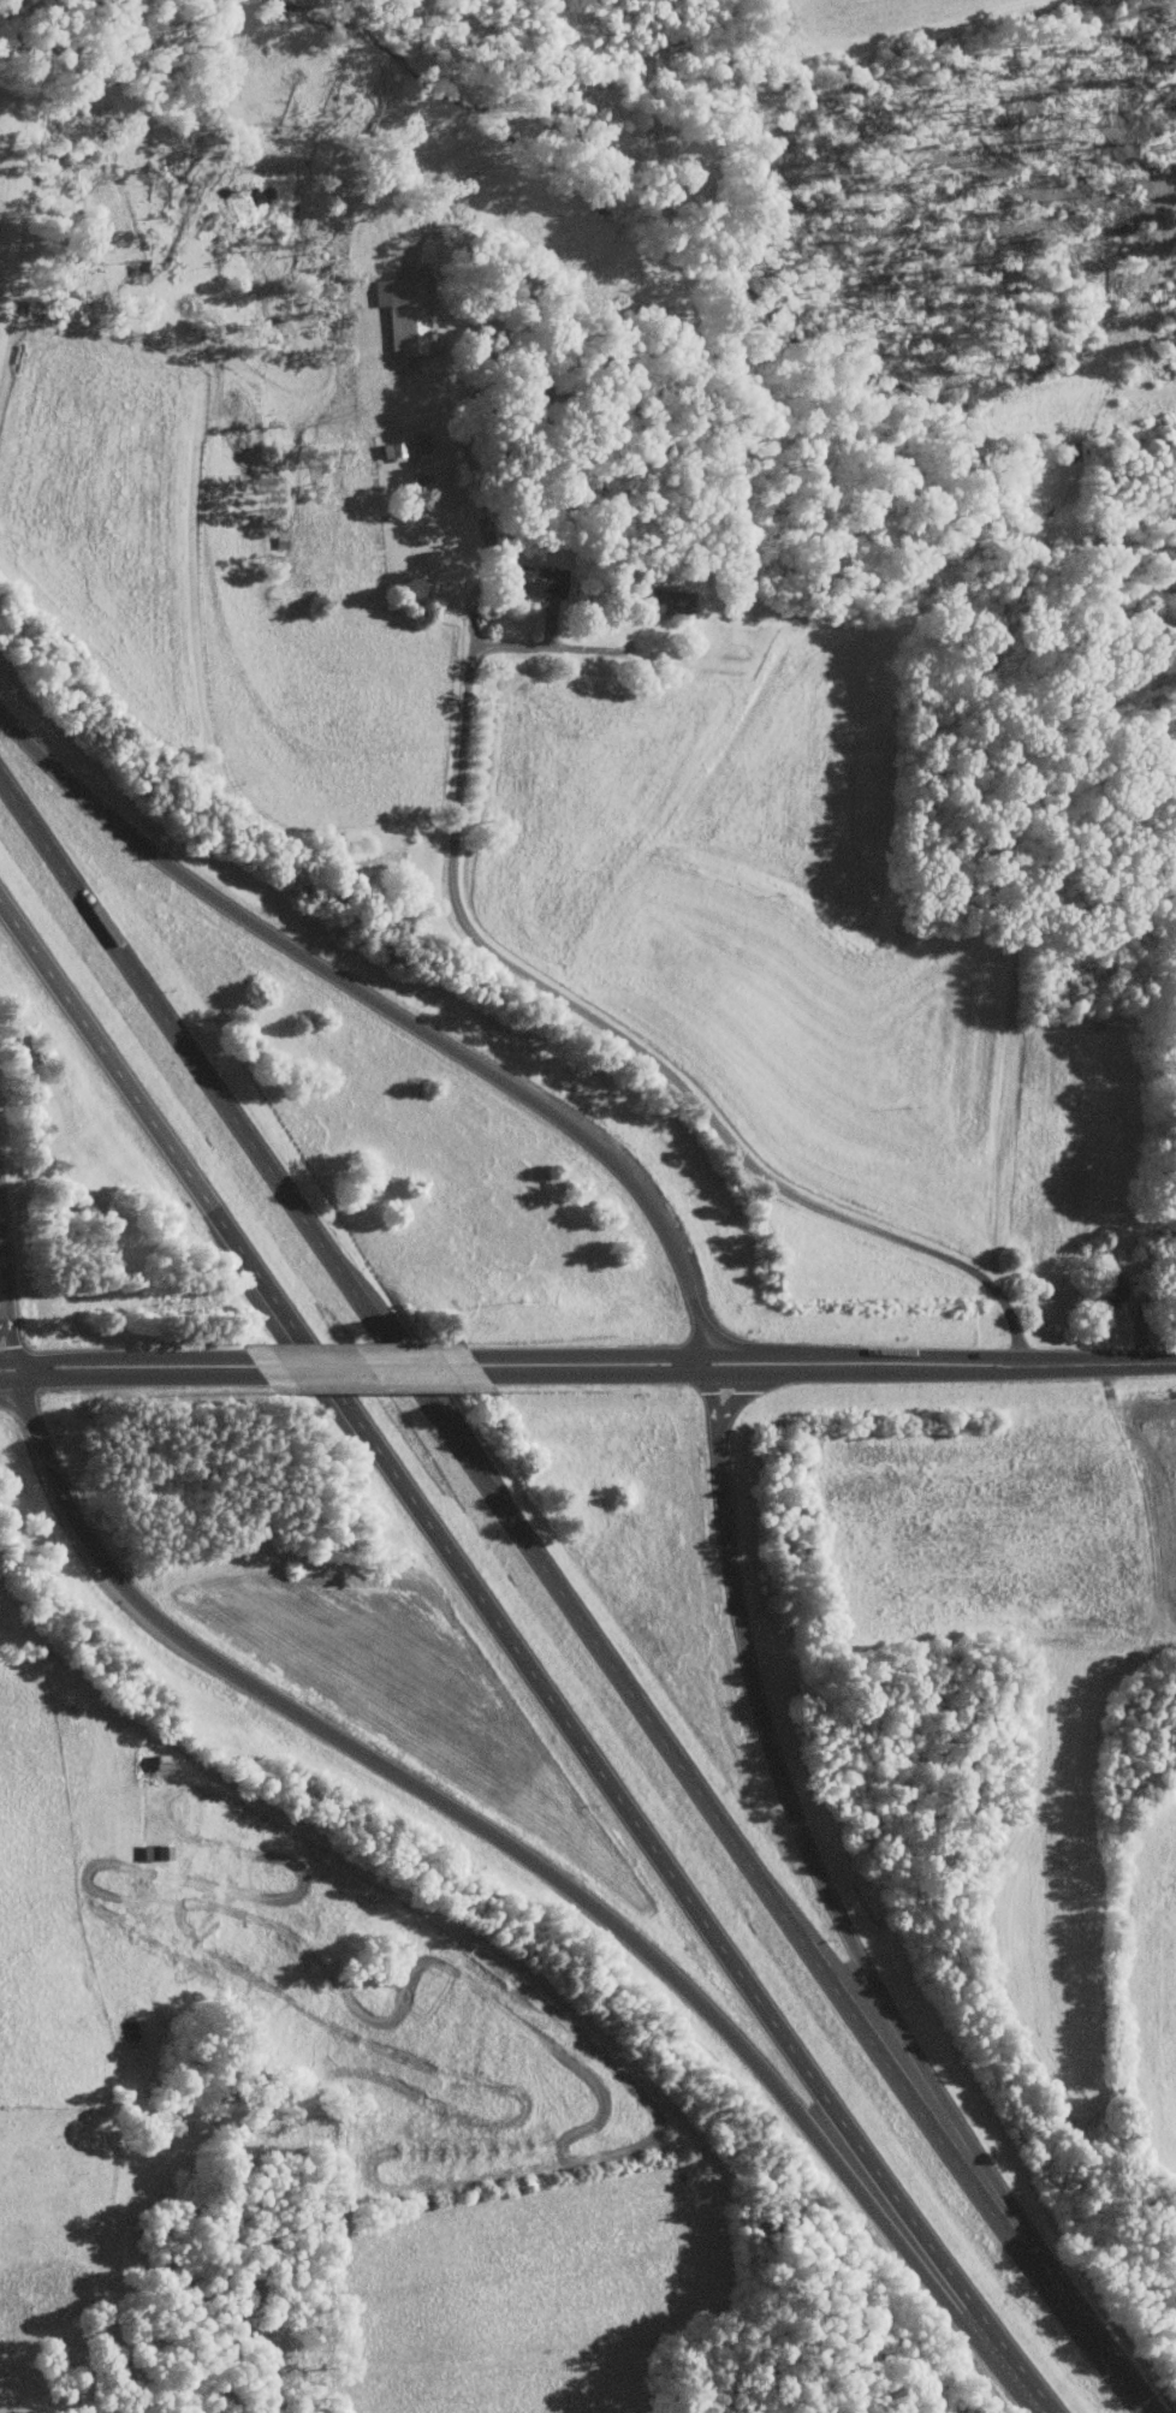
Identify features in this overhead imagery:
building: (406, 313)
building: (390, 448)
building: (418, 480)
building: (534, 581)
building: (666, 599)
road: (476, 636)
road: (587, 647)
road: (608, 1026)
building: (1113, 1289)
road: (695, 1298)
road: (1144, 1338)
road: (836, 1367)
road: (135, 1369)
road: (384, 1372)
road: (577, 1581)
road: (525, 1665)
road: (400, 1779)
building: (152, 1852)

